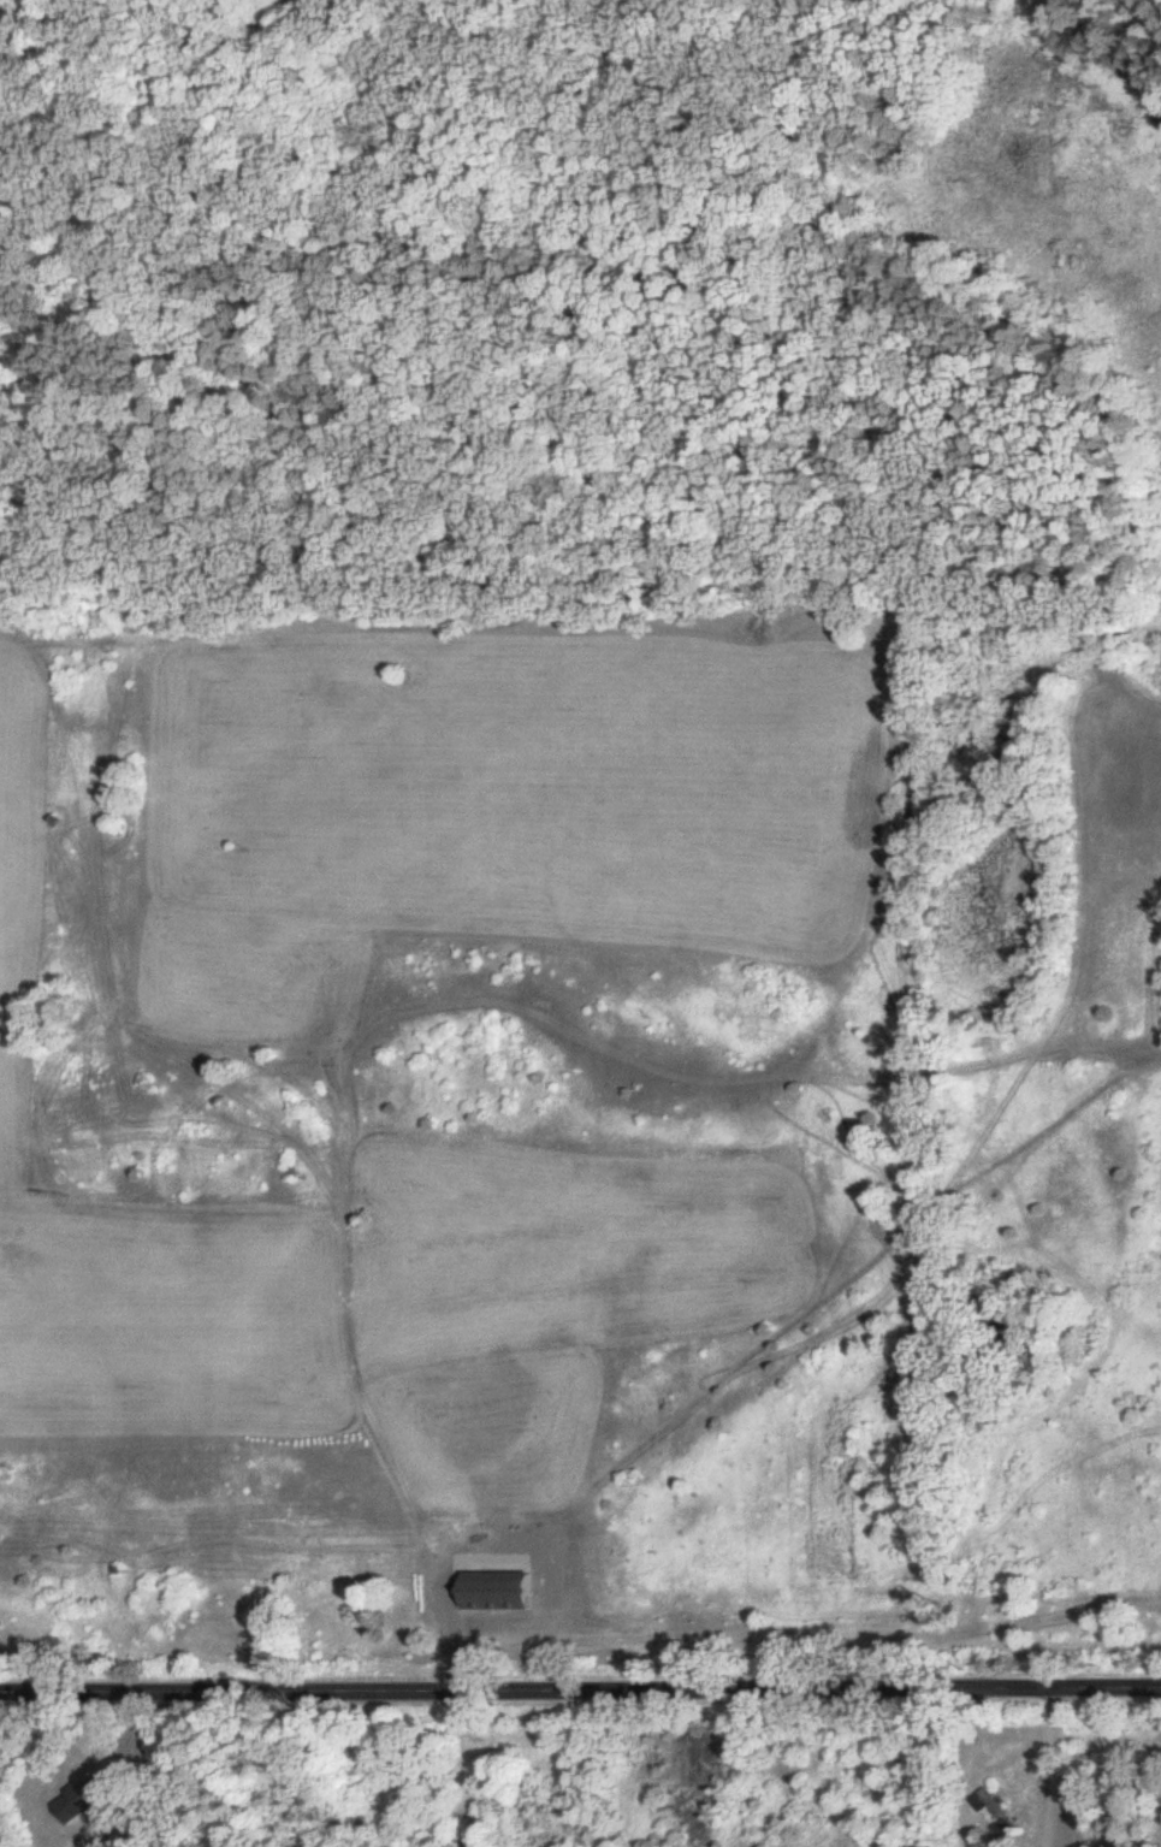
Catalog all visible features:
road: (445, 1616)
road: (580, 1694)
road: (964, 1751)
road: (1047, 1770)
building: (85, 1801)
building: (995, 1813)

